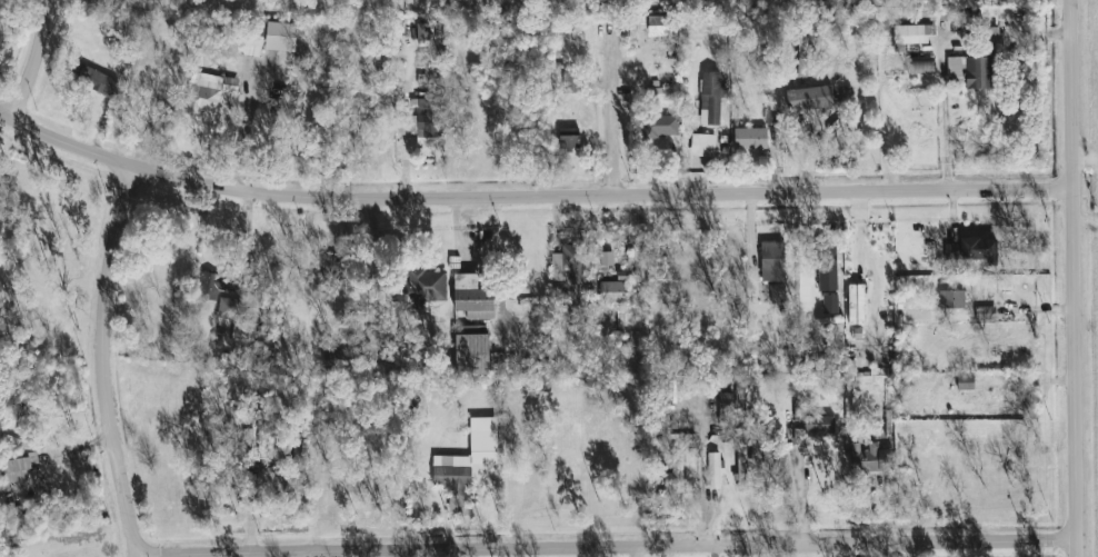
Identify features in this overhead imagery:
building: (429, 0)
building: (100, 1)
building: (641, 21)
building: (661, 24)
building: (421, 30)
building: (912, 33)
building: (280, 36)
road: (33, 60)
building: (920, 64)
building: (969, 70)
building: (91, 79)
building: (570, 81)
building: (802, 81)
building: (208, 91)
building: (659, 92)
building: (711, 97)
road: (946, 110)
road: (611, 112)
building: (770, 115)
building: (421, 120)
building: (660, 125)
building: (568, 137)
road: (238, 138)
building: (750, 138)
building: (702, 145)
road: (1085, 155)
road: (529, 196)
building: (974, 250)
road: (373, 251)
building: (607, 257)
building: (771, 260)
building: (637, 262)
building: (827, 266)
building: (332, 268)
building: (697, 272)
building: (558, 275)
building: (623, 275)
road: (1072, 278)
building: (210, 285)
building: (426, 286)
building: (669, 287)
building: (613, 291)
building: (777, 292)
building: (472, 297)
building: (951, 298)
building: (829, 304)
building: (856, 304)
building: (228, 308)
building: (985, 312)
building: (472, 328)
building: (471, 354)
road: (101, 360)
building: (965, 381)
building: (726, 408)
building: (819, 425)
building: (870, 457)
building: (467, 460)
building: (741, 461)
building: (17, 467)
building: (713, 469)
building: (675, 470)
road: (699, 471)
road: (606, 546)

